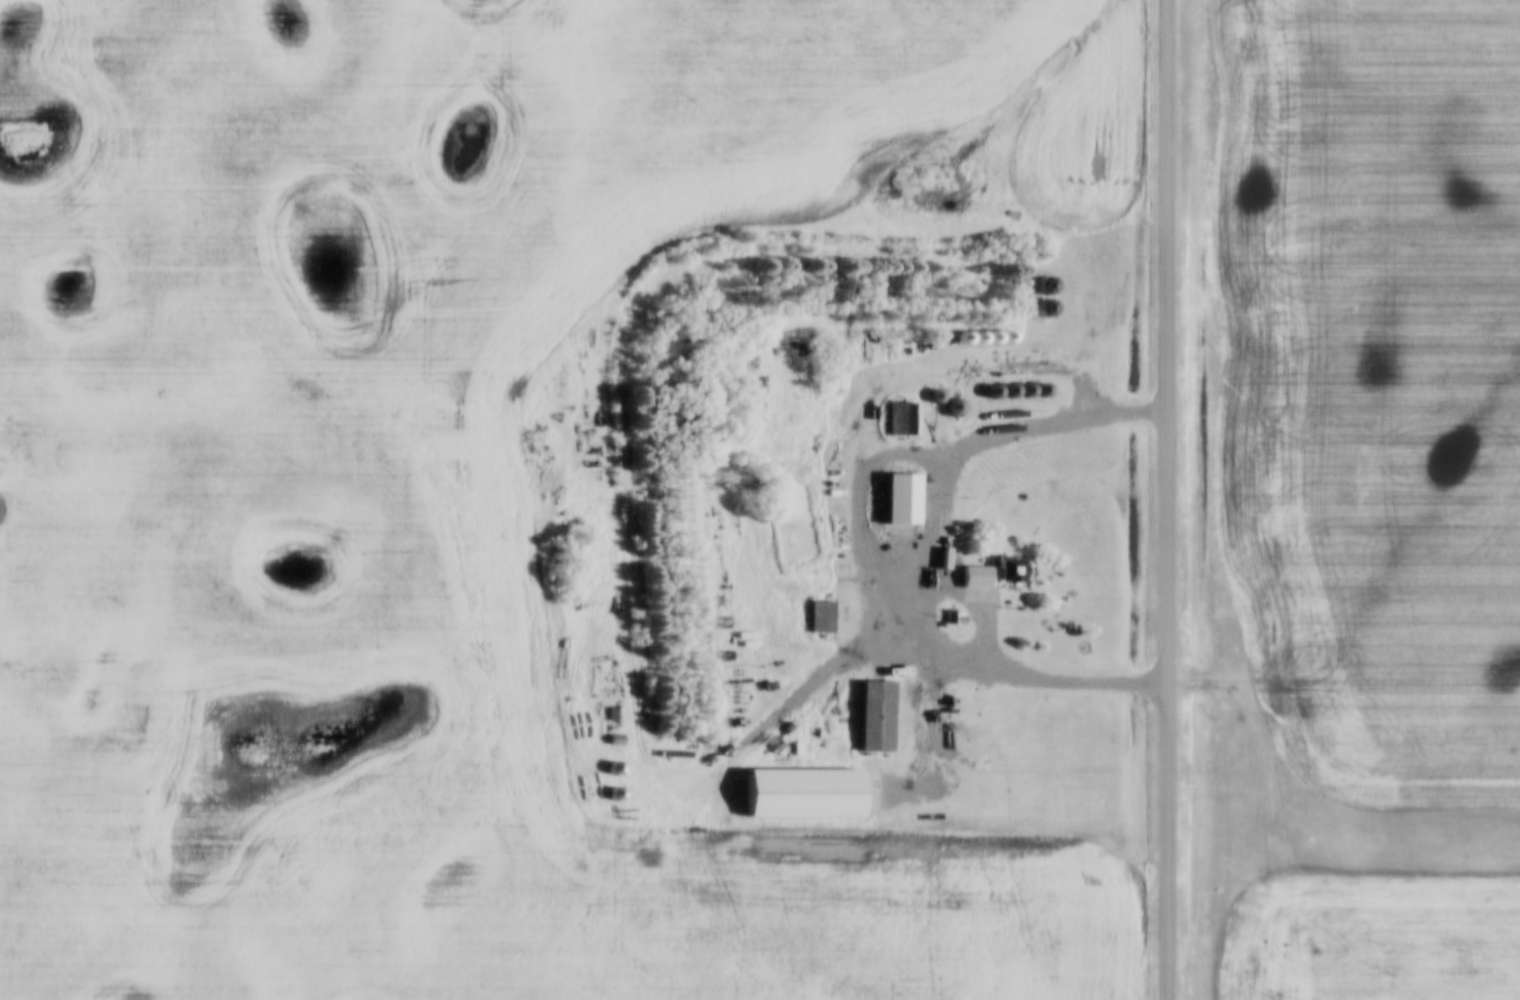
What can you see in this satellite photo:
building: (1042, 283)
building: (1009, 390)
building: (952, 406)
building: (900, 417)
building: (898, 496)
road: (1170, 500)
building: (1006, 568)
building: (972, 575)
building: (817, 615)
road: (918, 634)
building: (613, 712)
building: (872, 714)
building: (611, 767)
building: (799, 791)
building: (611, 793)
building: (992, 804)

